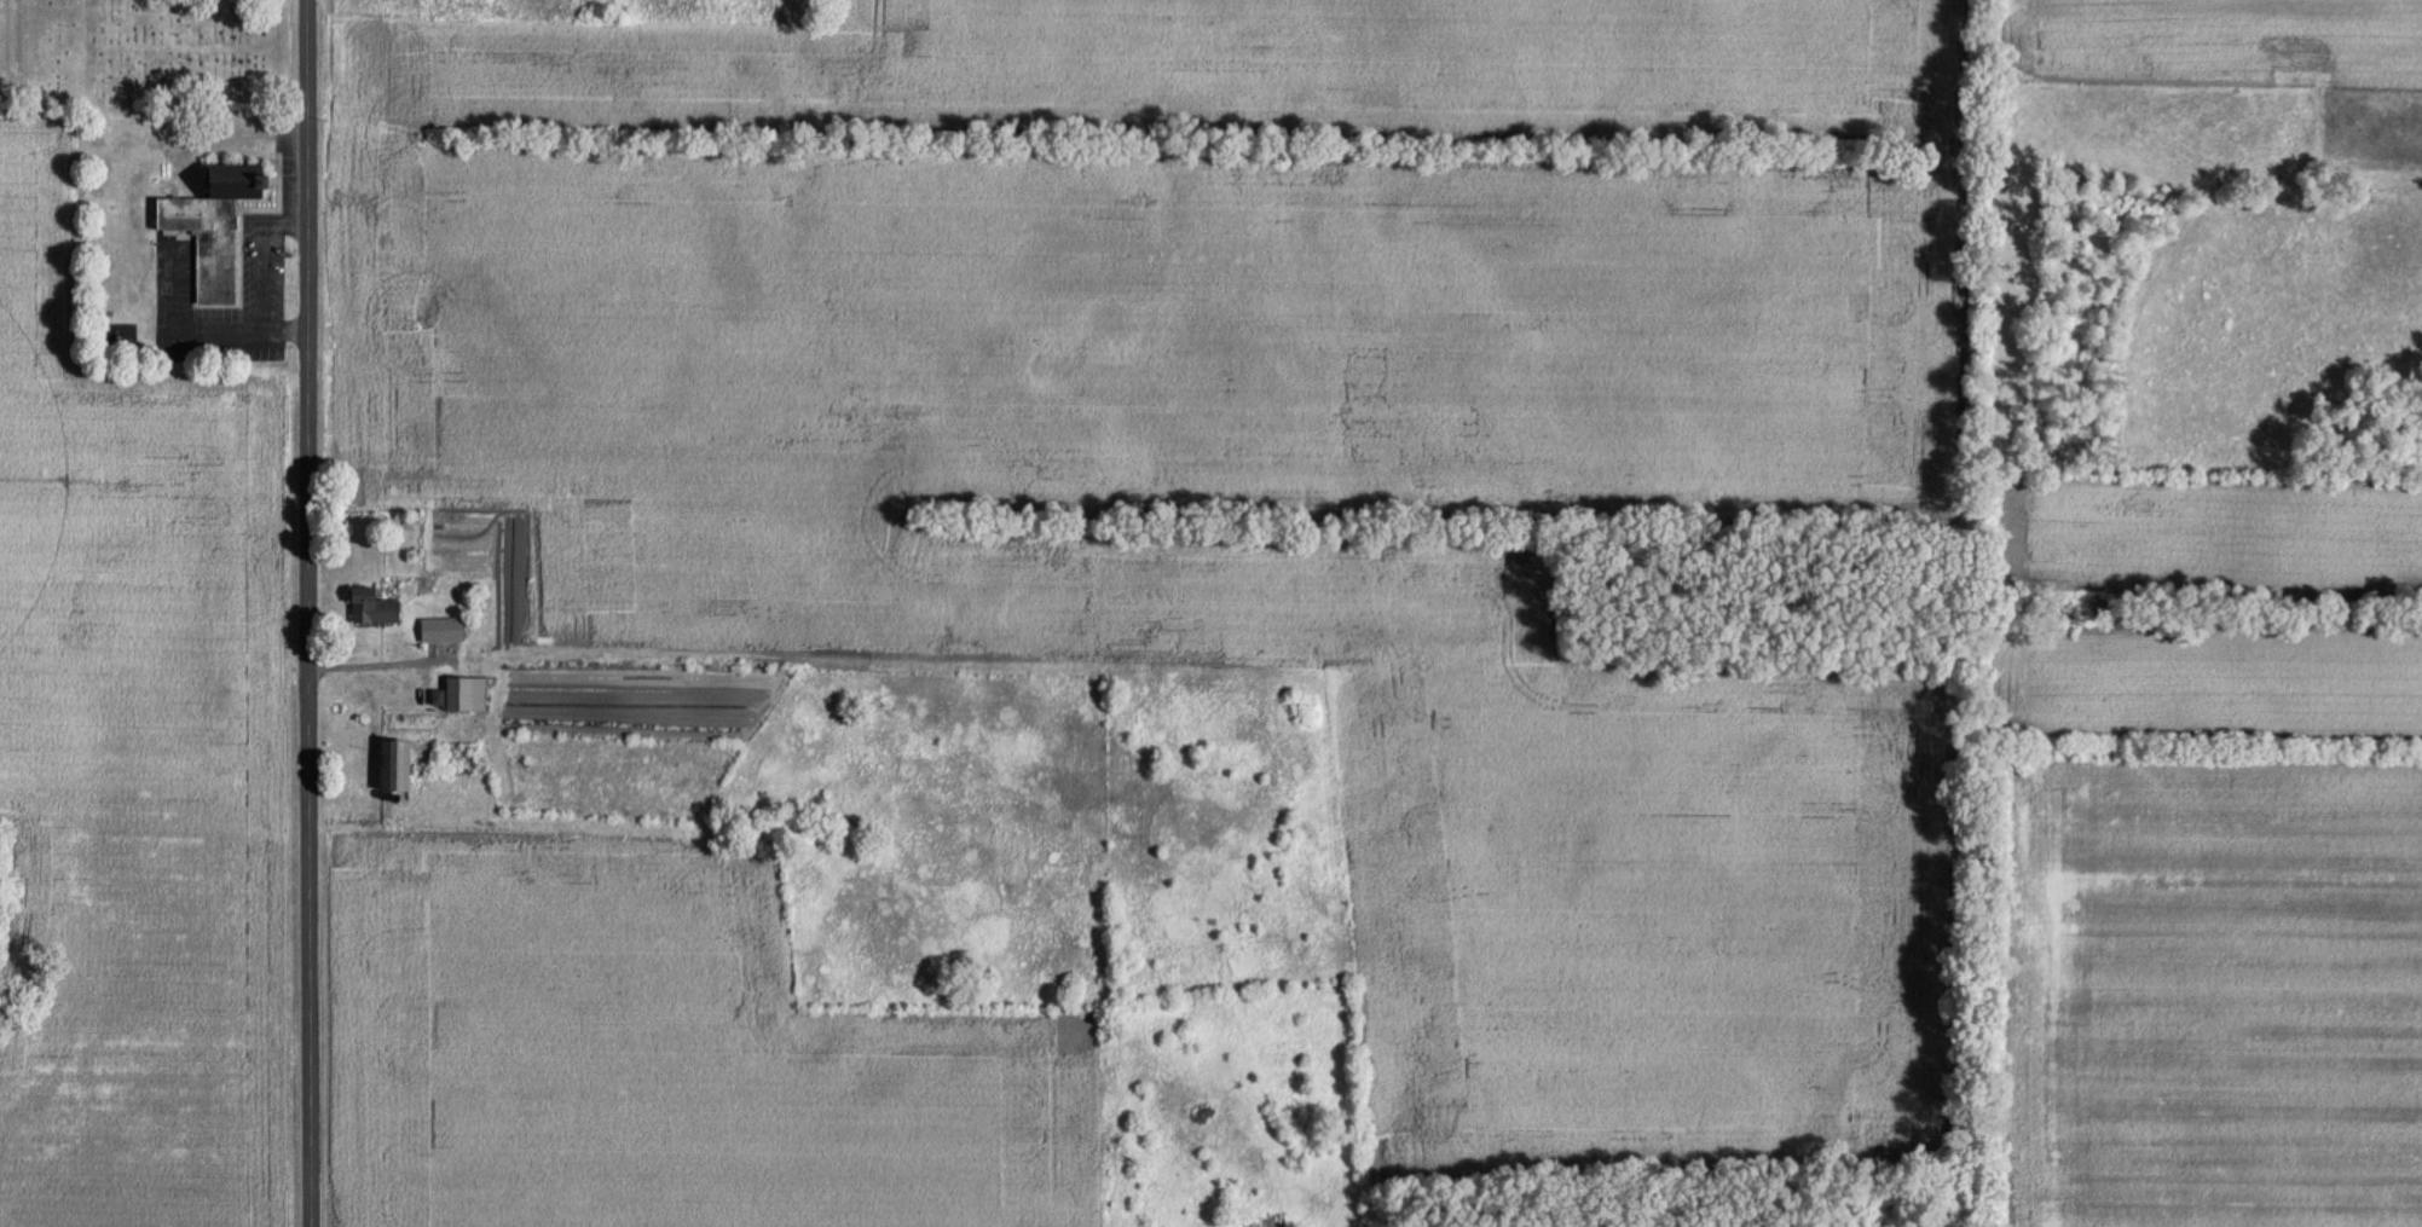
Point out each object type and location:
park: (185, 52)
road: (284, 219)
building: (216, 224)
road: (260, 277)
road: (285, 335)
building: (375, 604)
road: (310, 613)
building: (444, 627)
building: (464, 691)
building: (397, 762)

